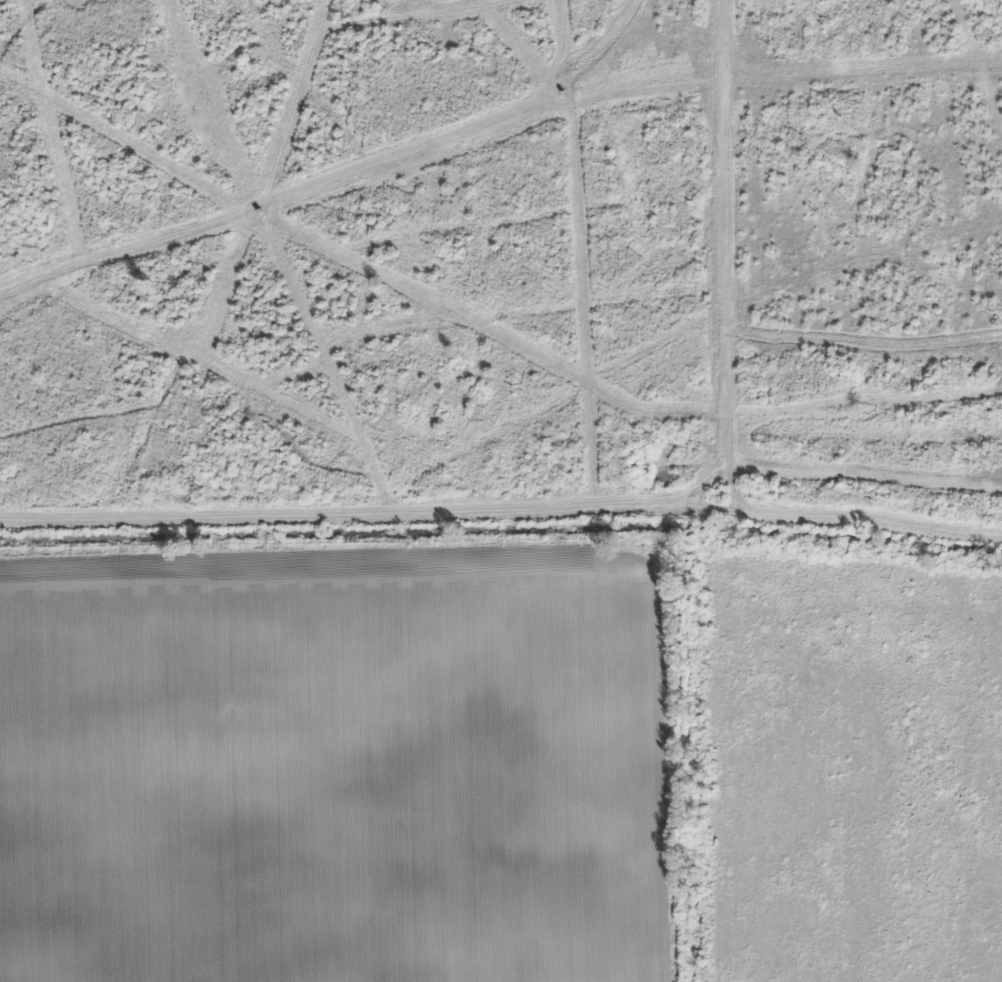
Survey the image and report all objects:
road: (669, 768)

